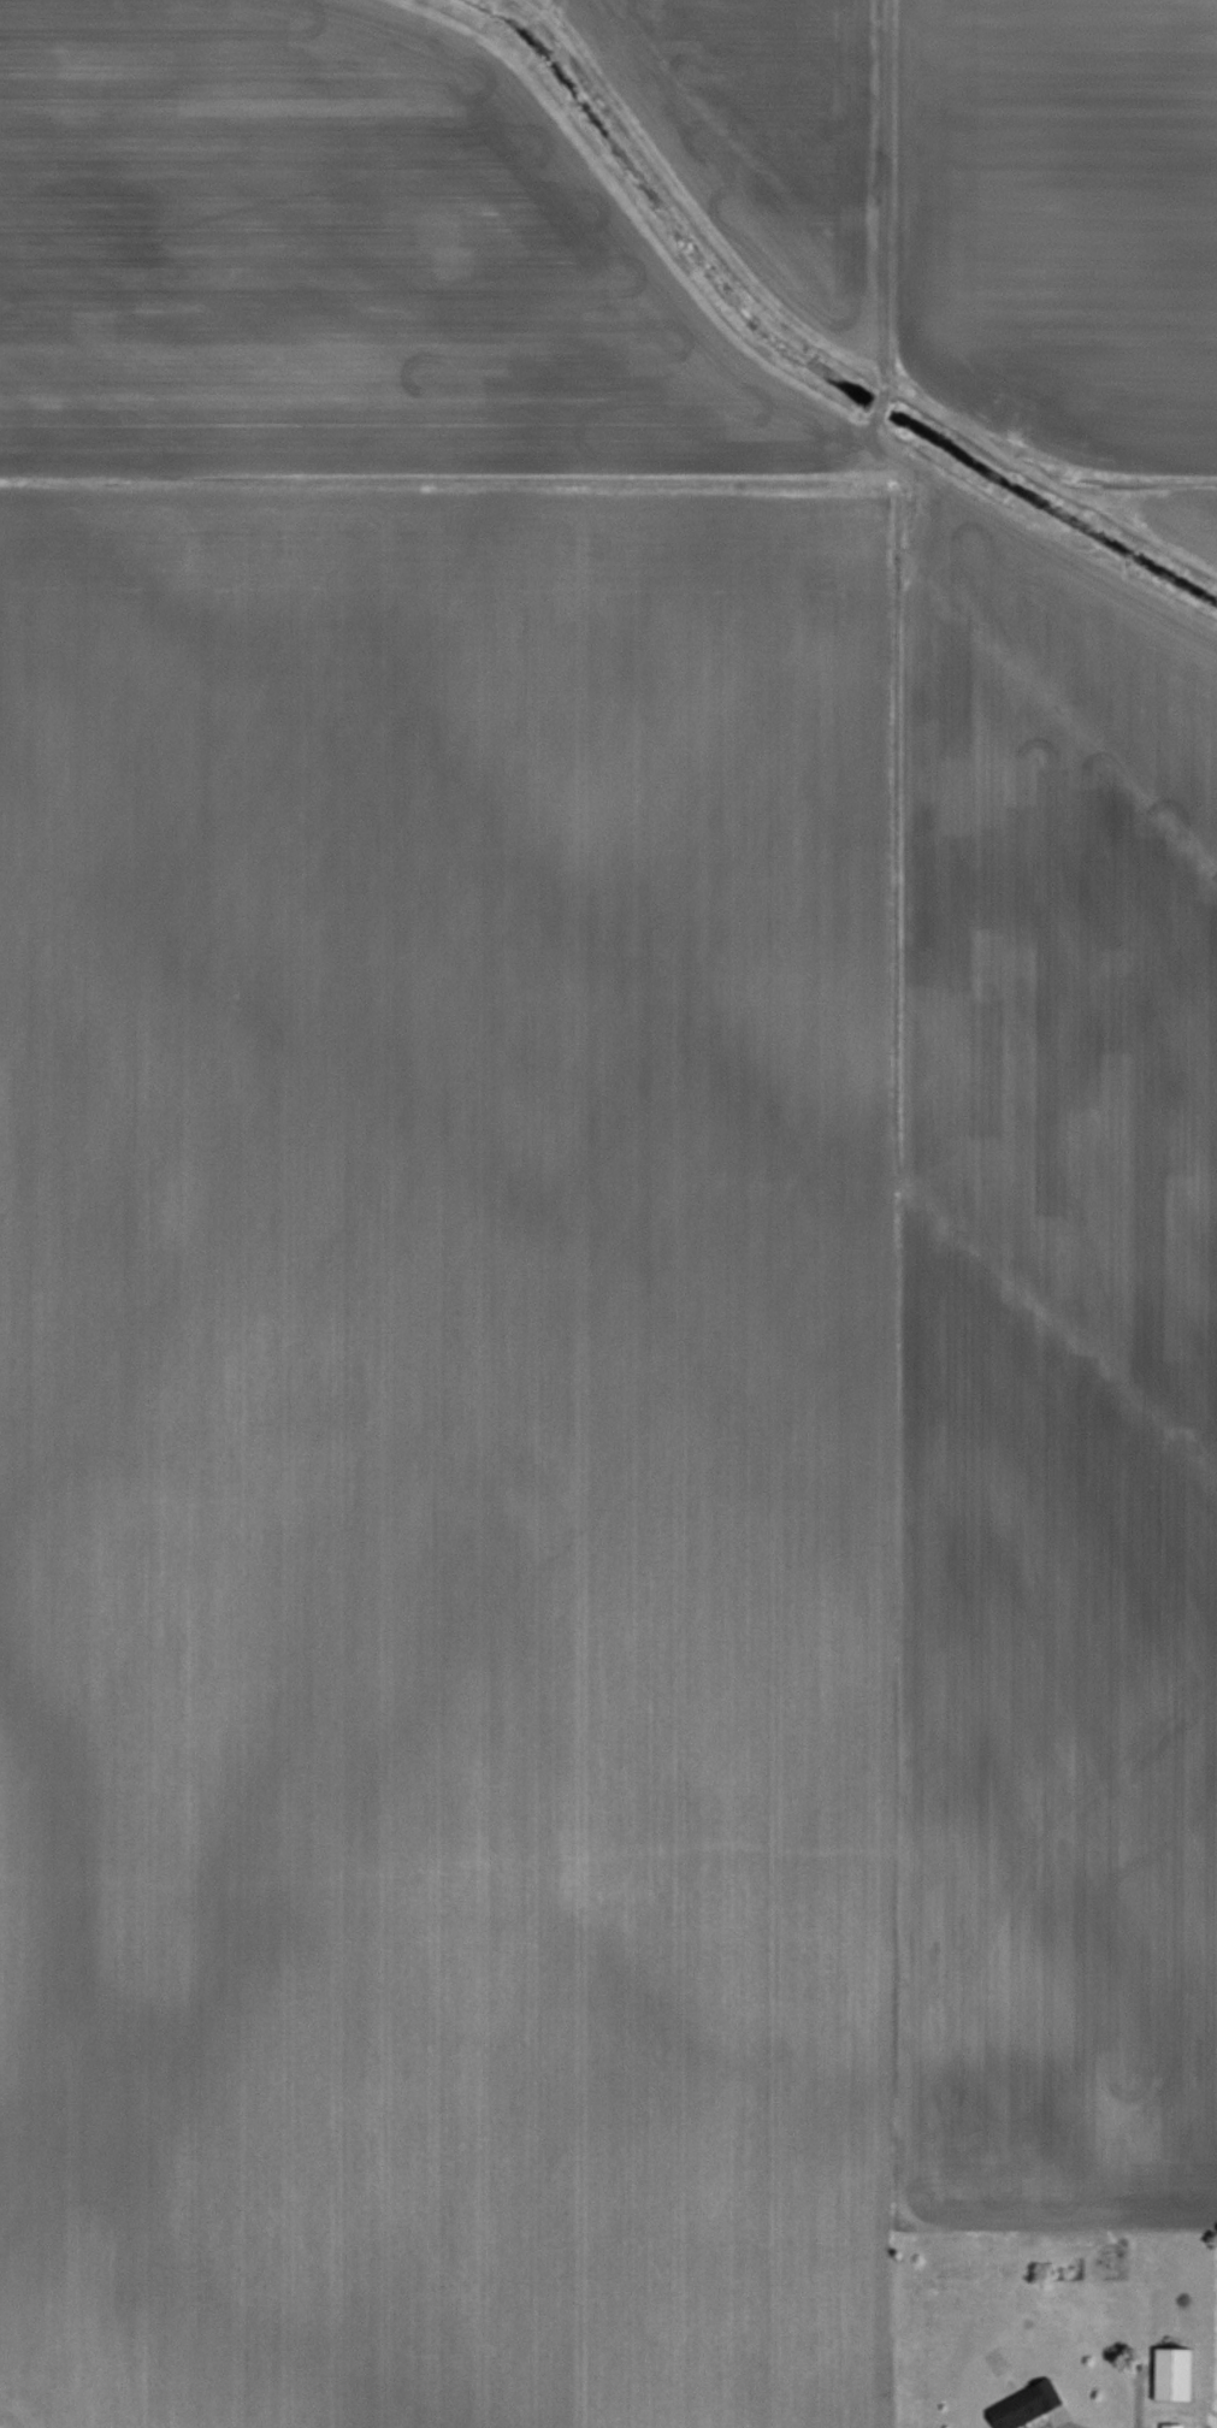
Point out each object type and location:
road: (1132, 2405)

